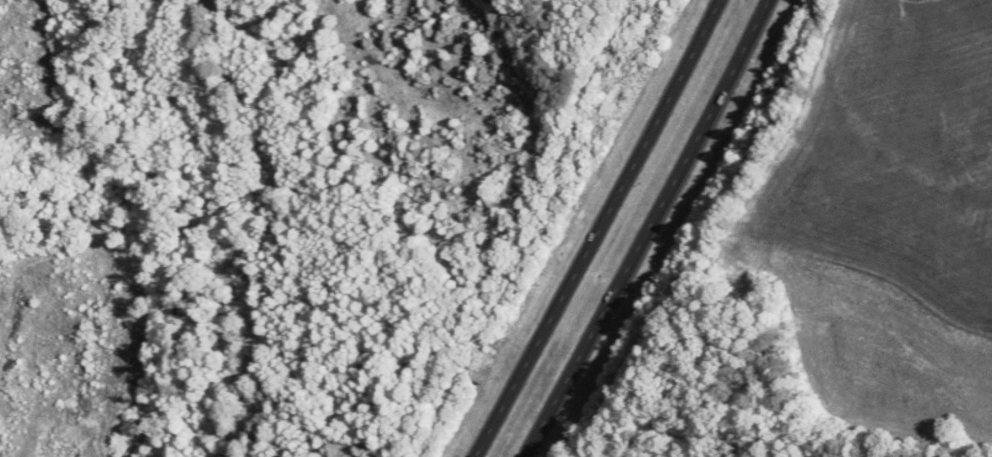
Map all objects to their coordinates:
road: (599, 229)
road: (649, 229)

